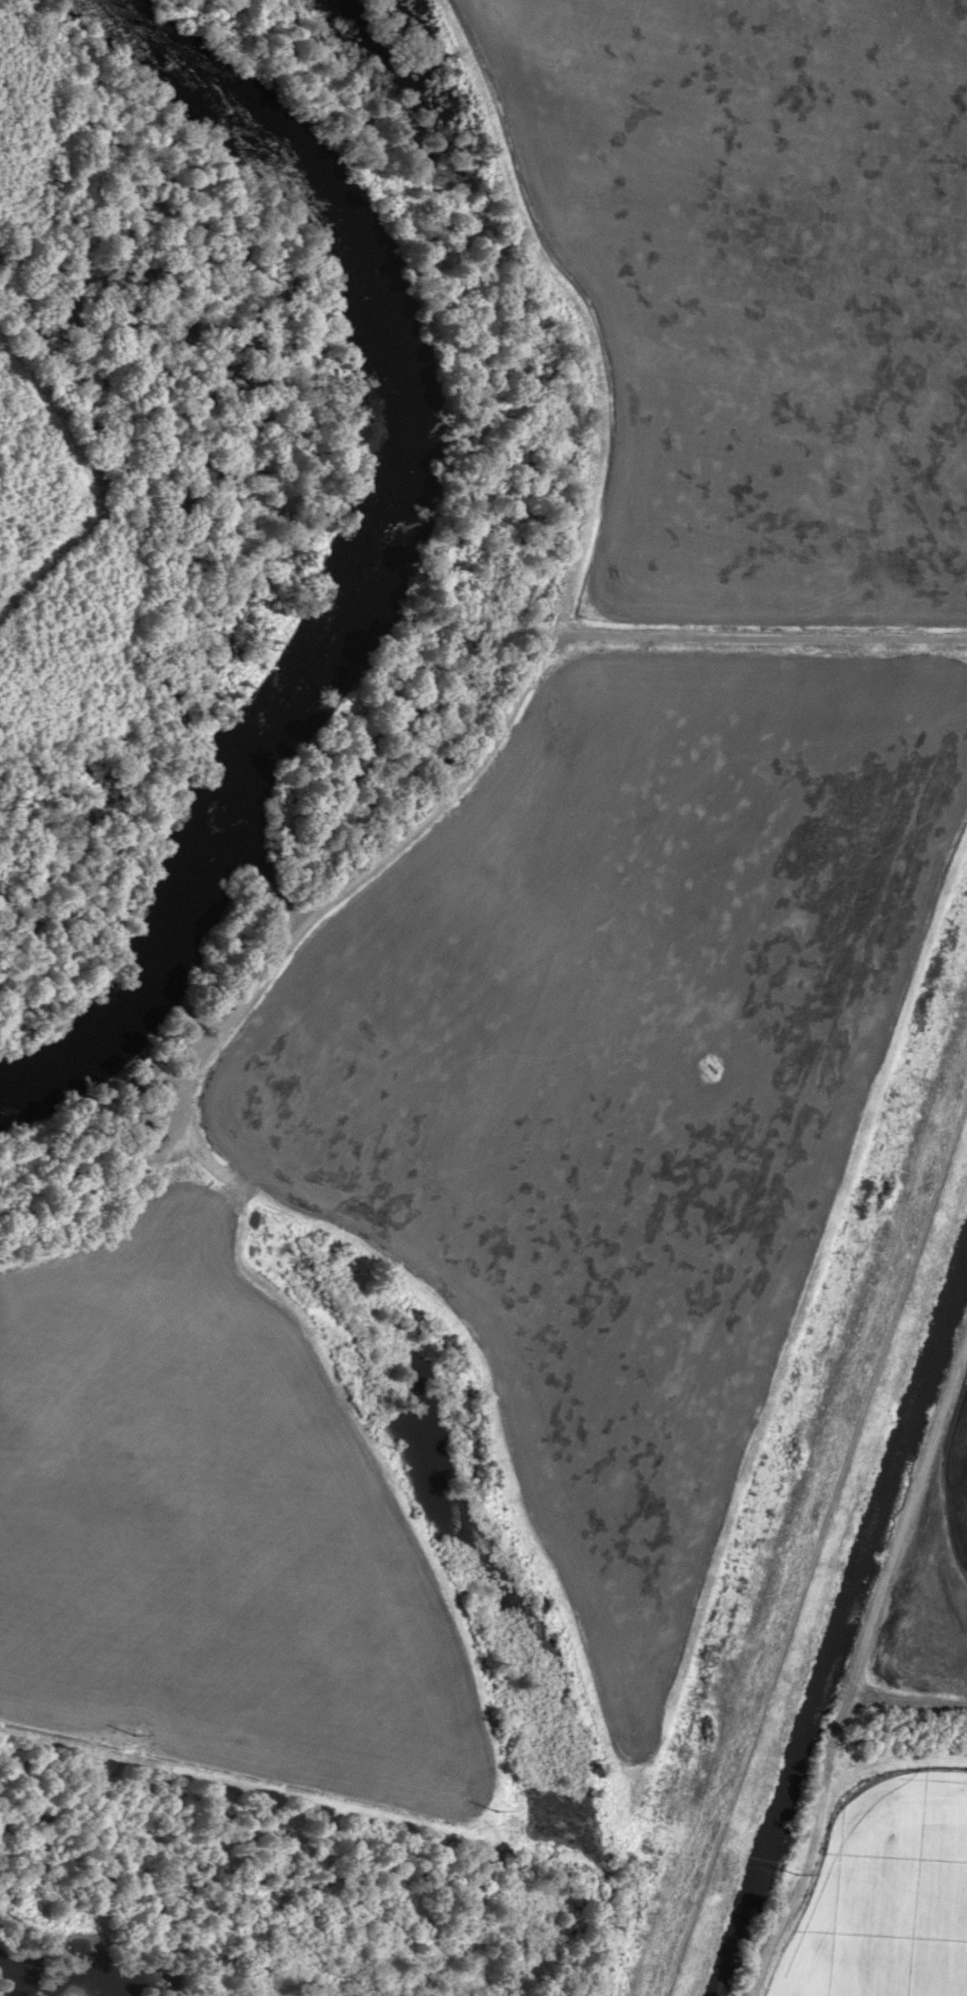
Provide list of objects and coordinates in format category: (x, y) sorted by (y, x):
river: (373, 548)
power tower: (136, 1727)
power tower: (501, 1804)
power tower: (788, 1860)

